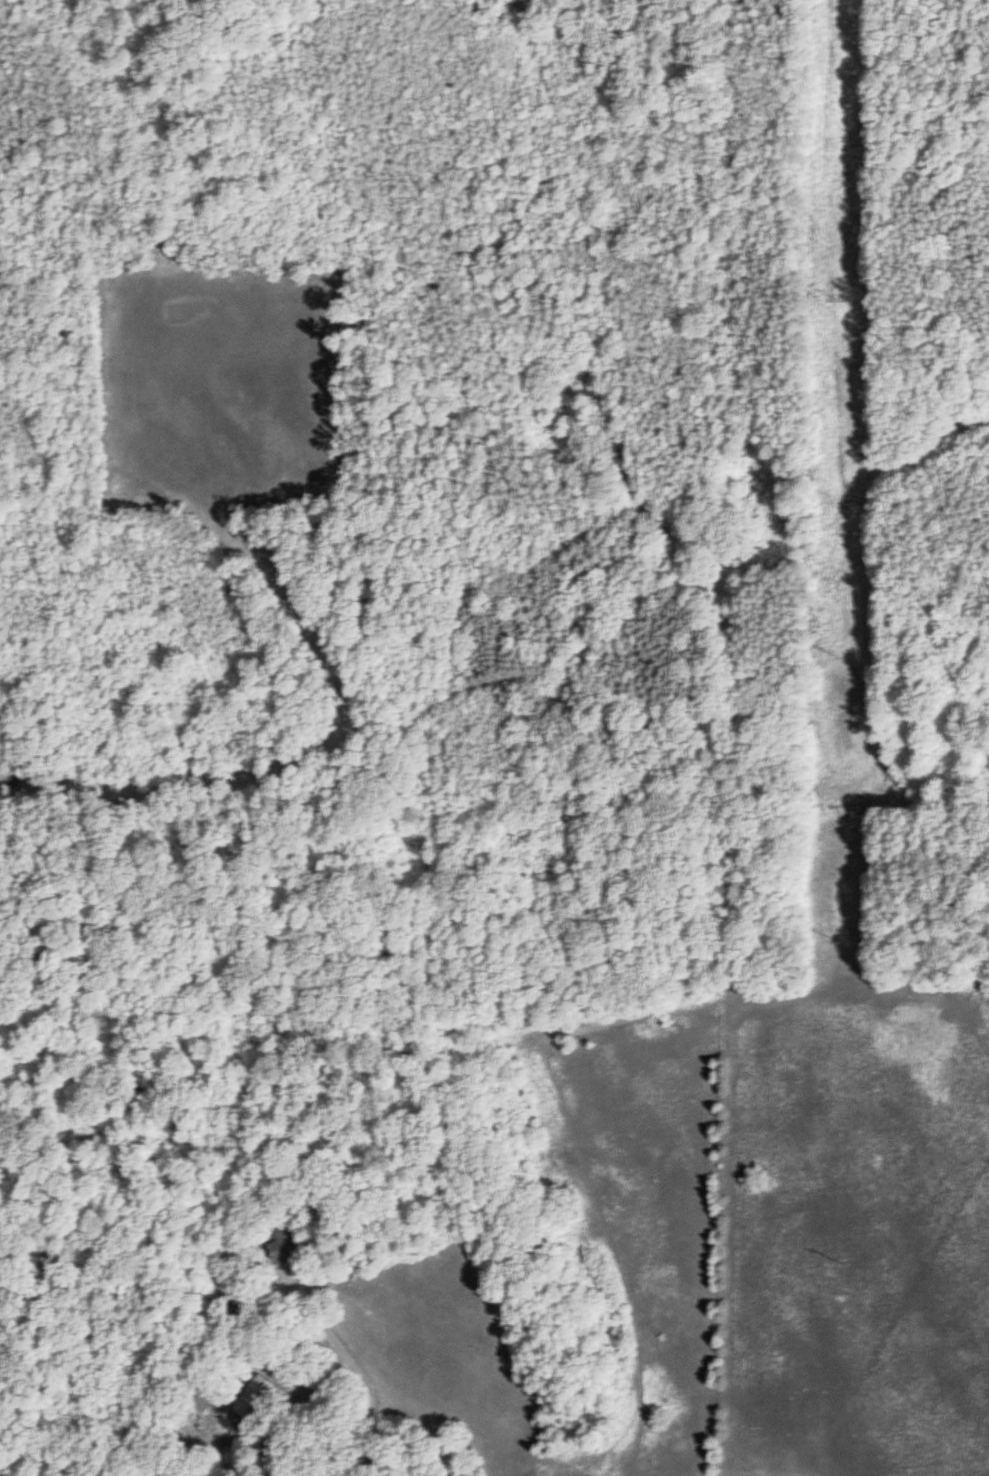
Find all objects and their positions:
building: (284, 1246)

